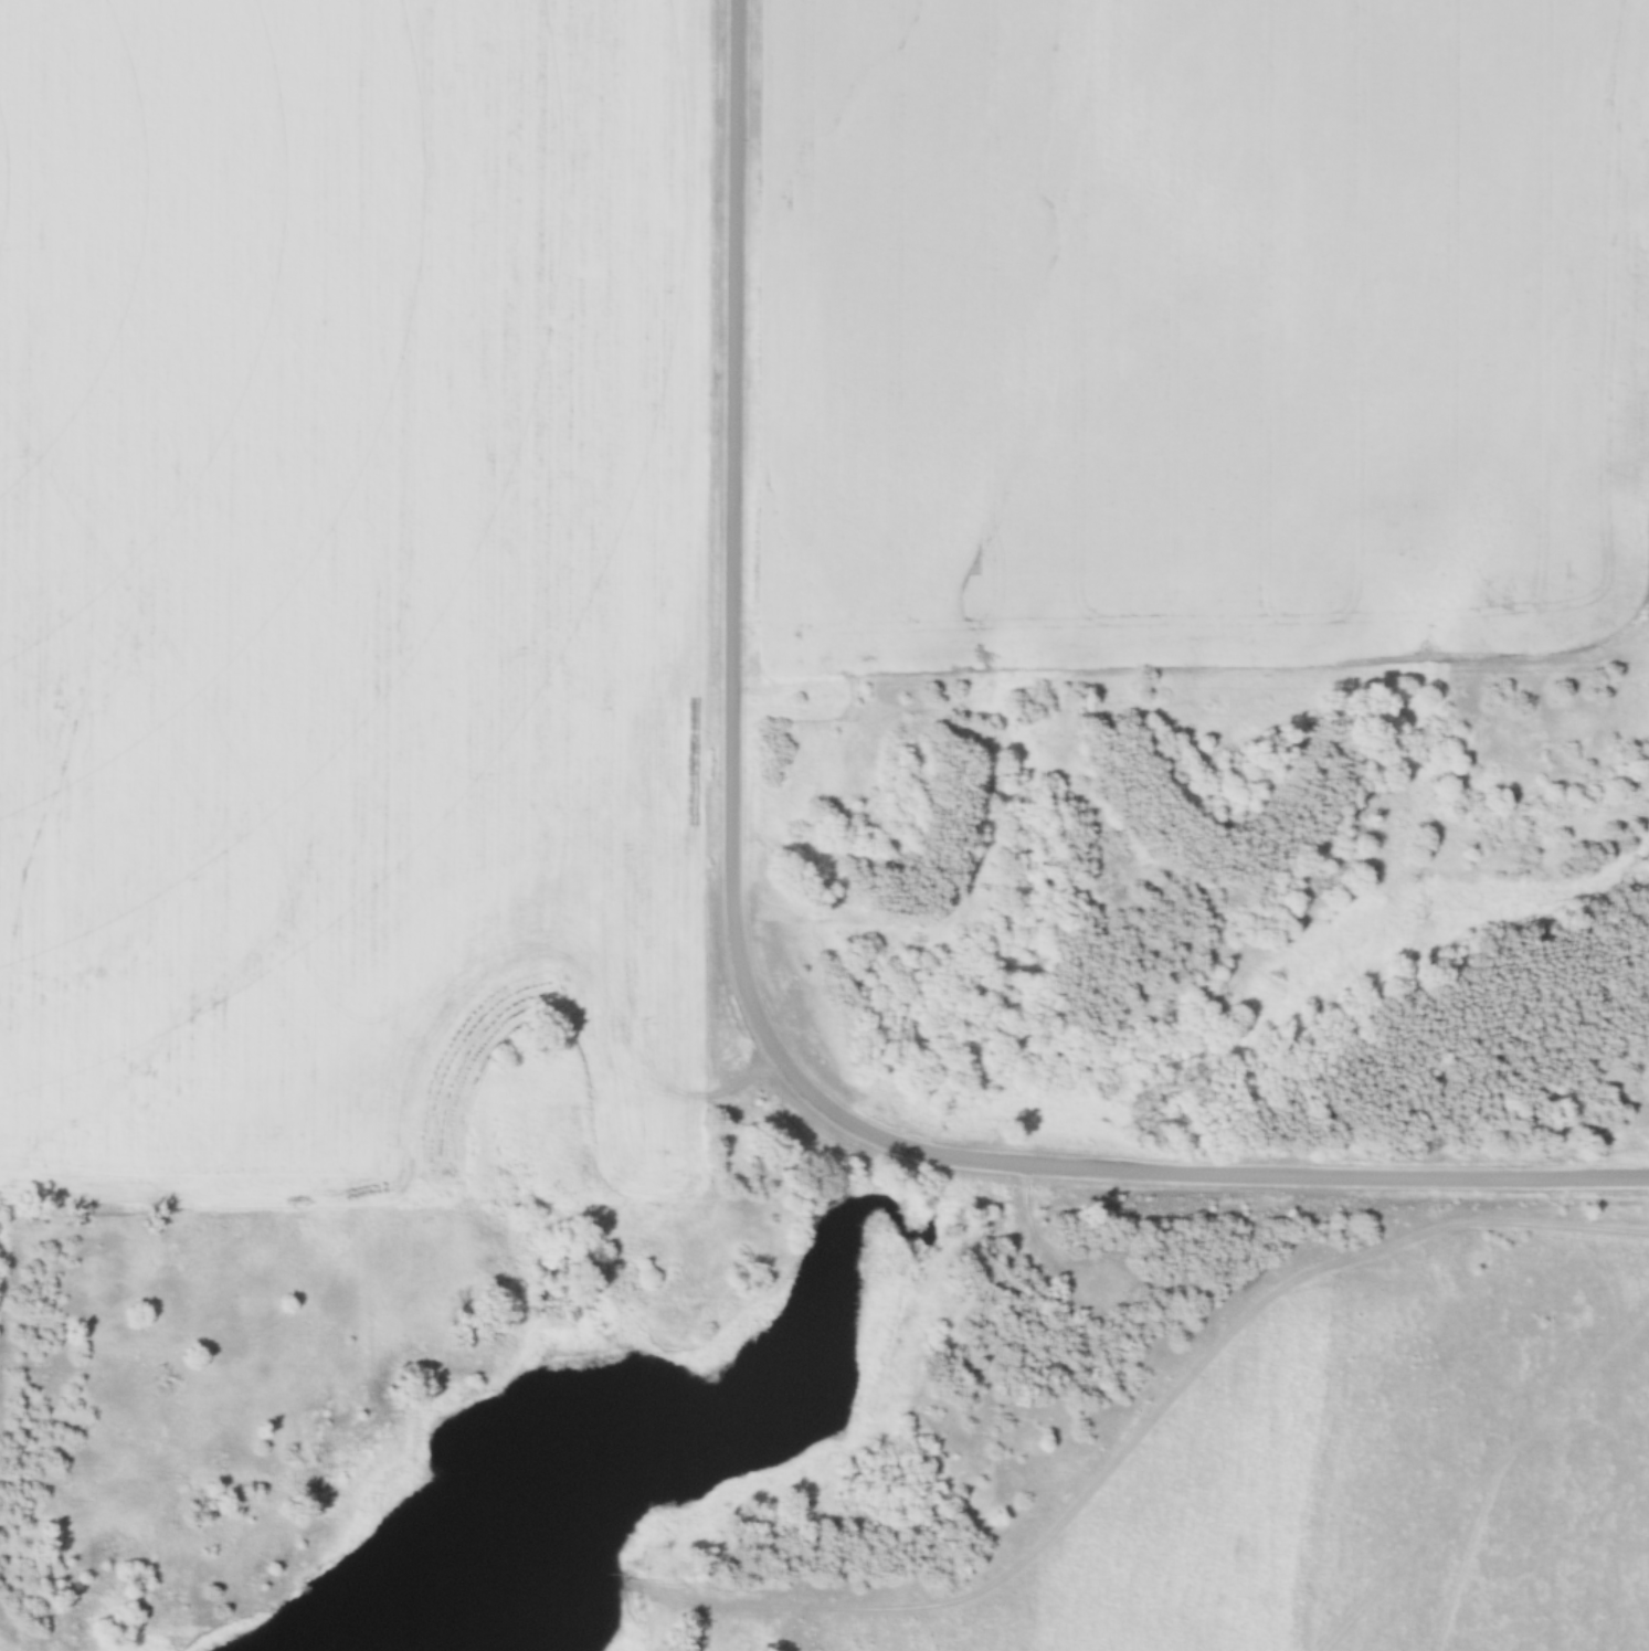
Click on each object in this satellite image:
road: (747, 988)
building: (1251, 1282)

